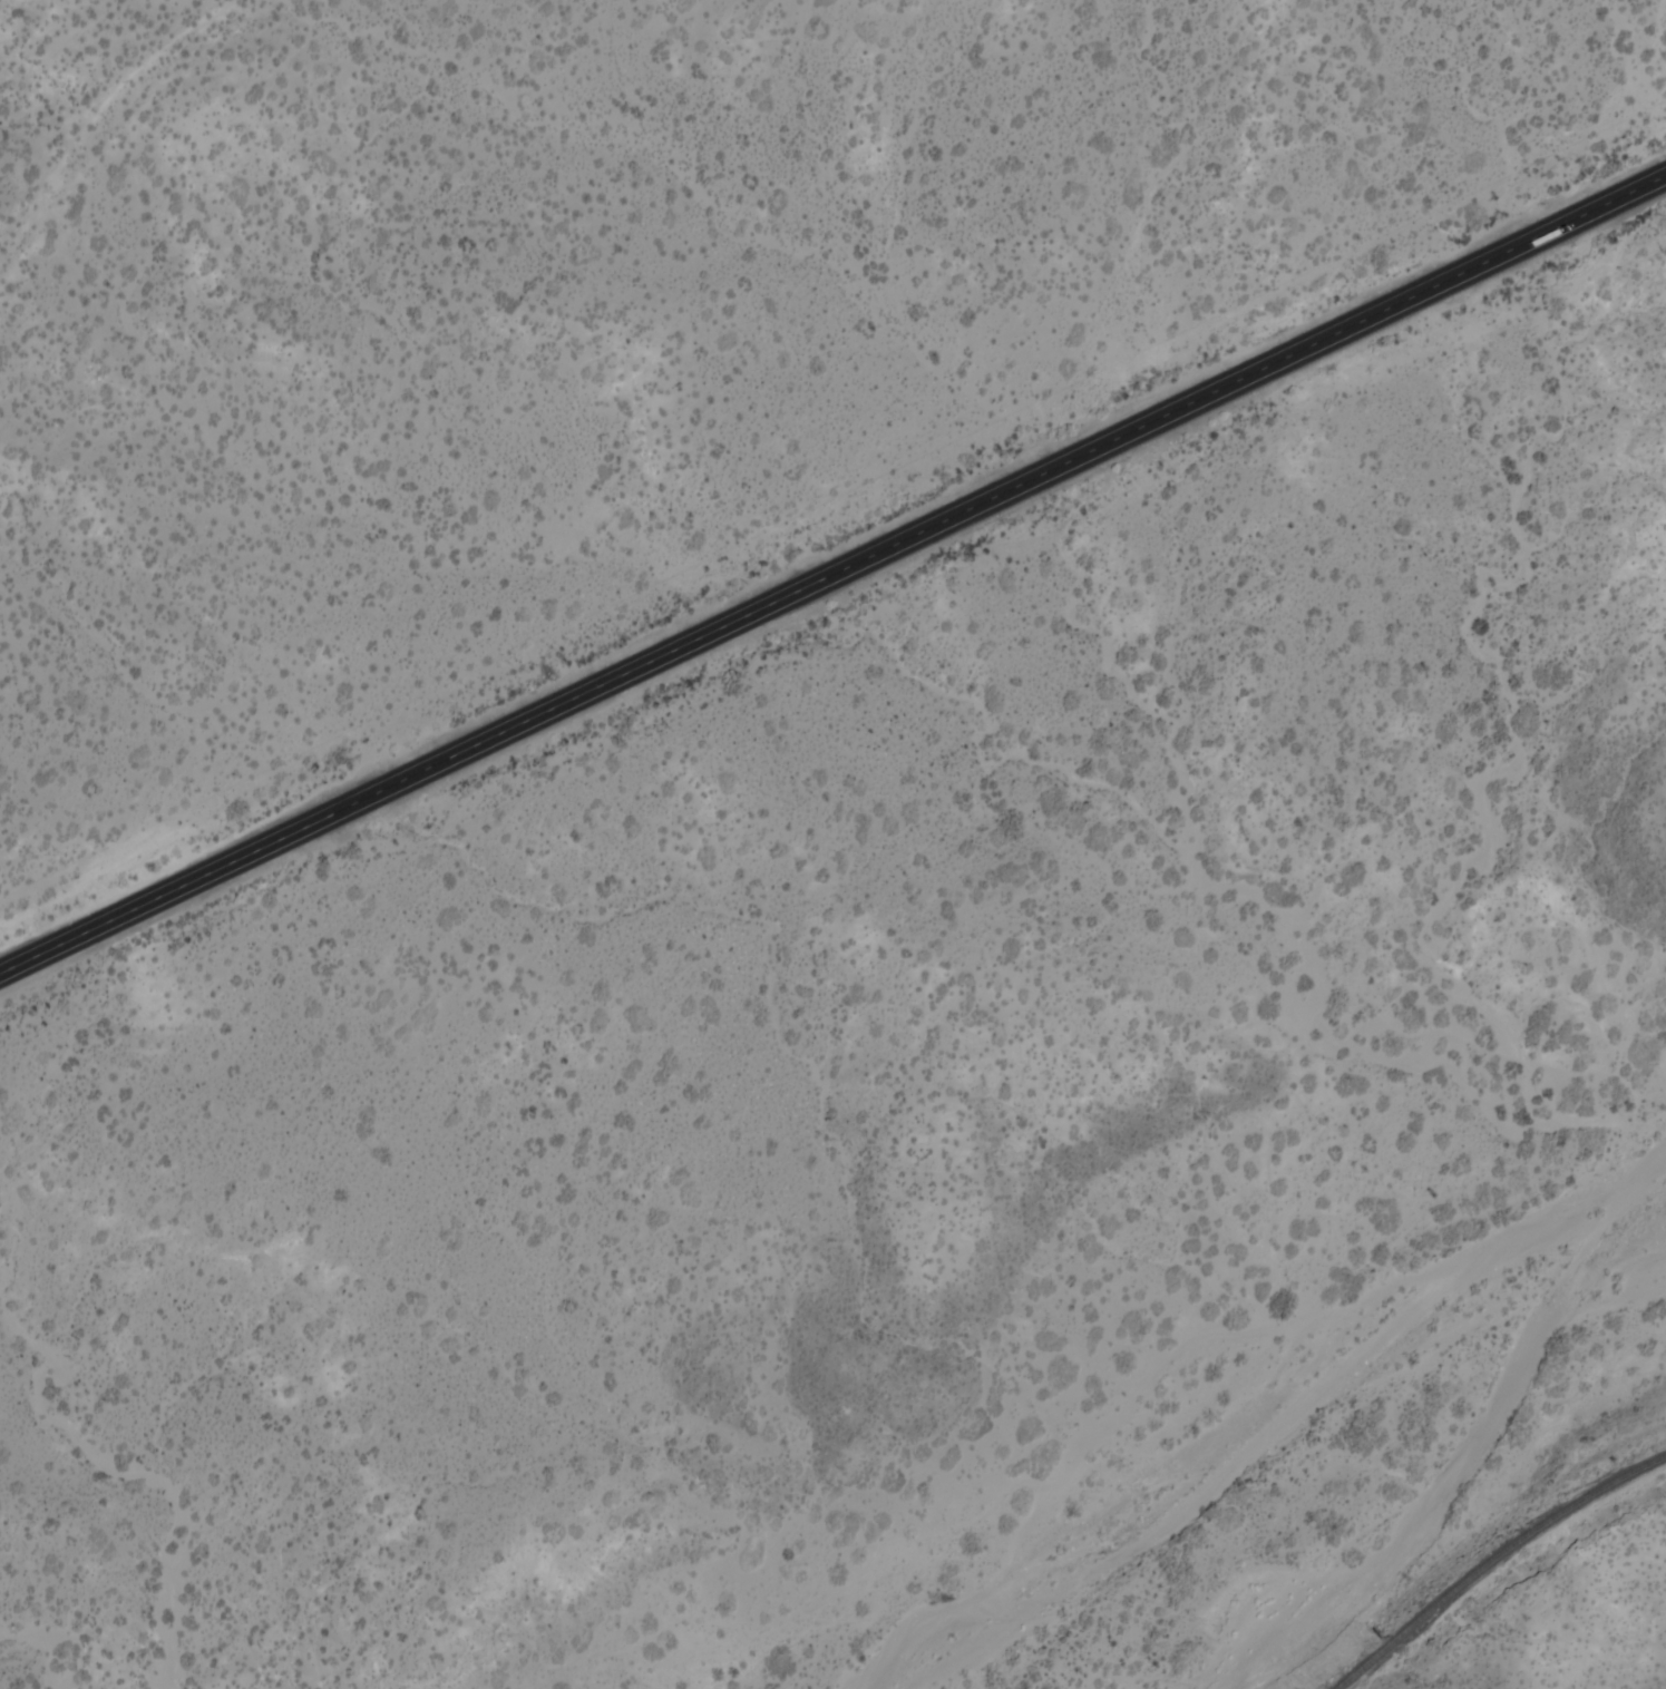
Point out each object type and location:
road: (832, 570)
river: (1255, 1396)
railway: (1491, 1558)

